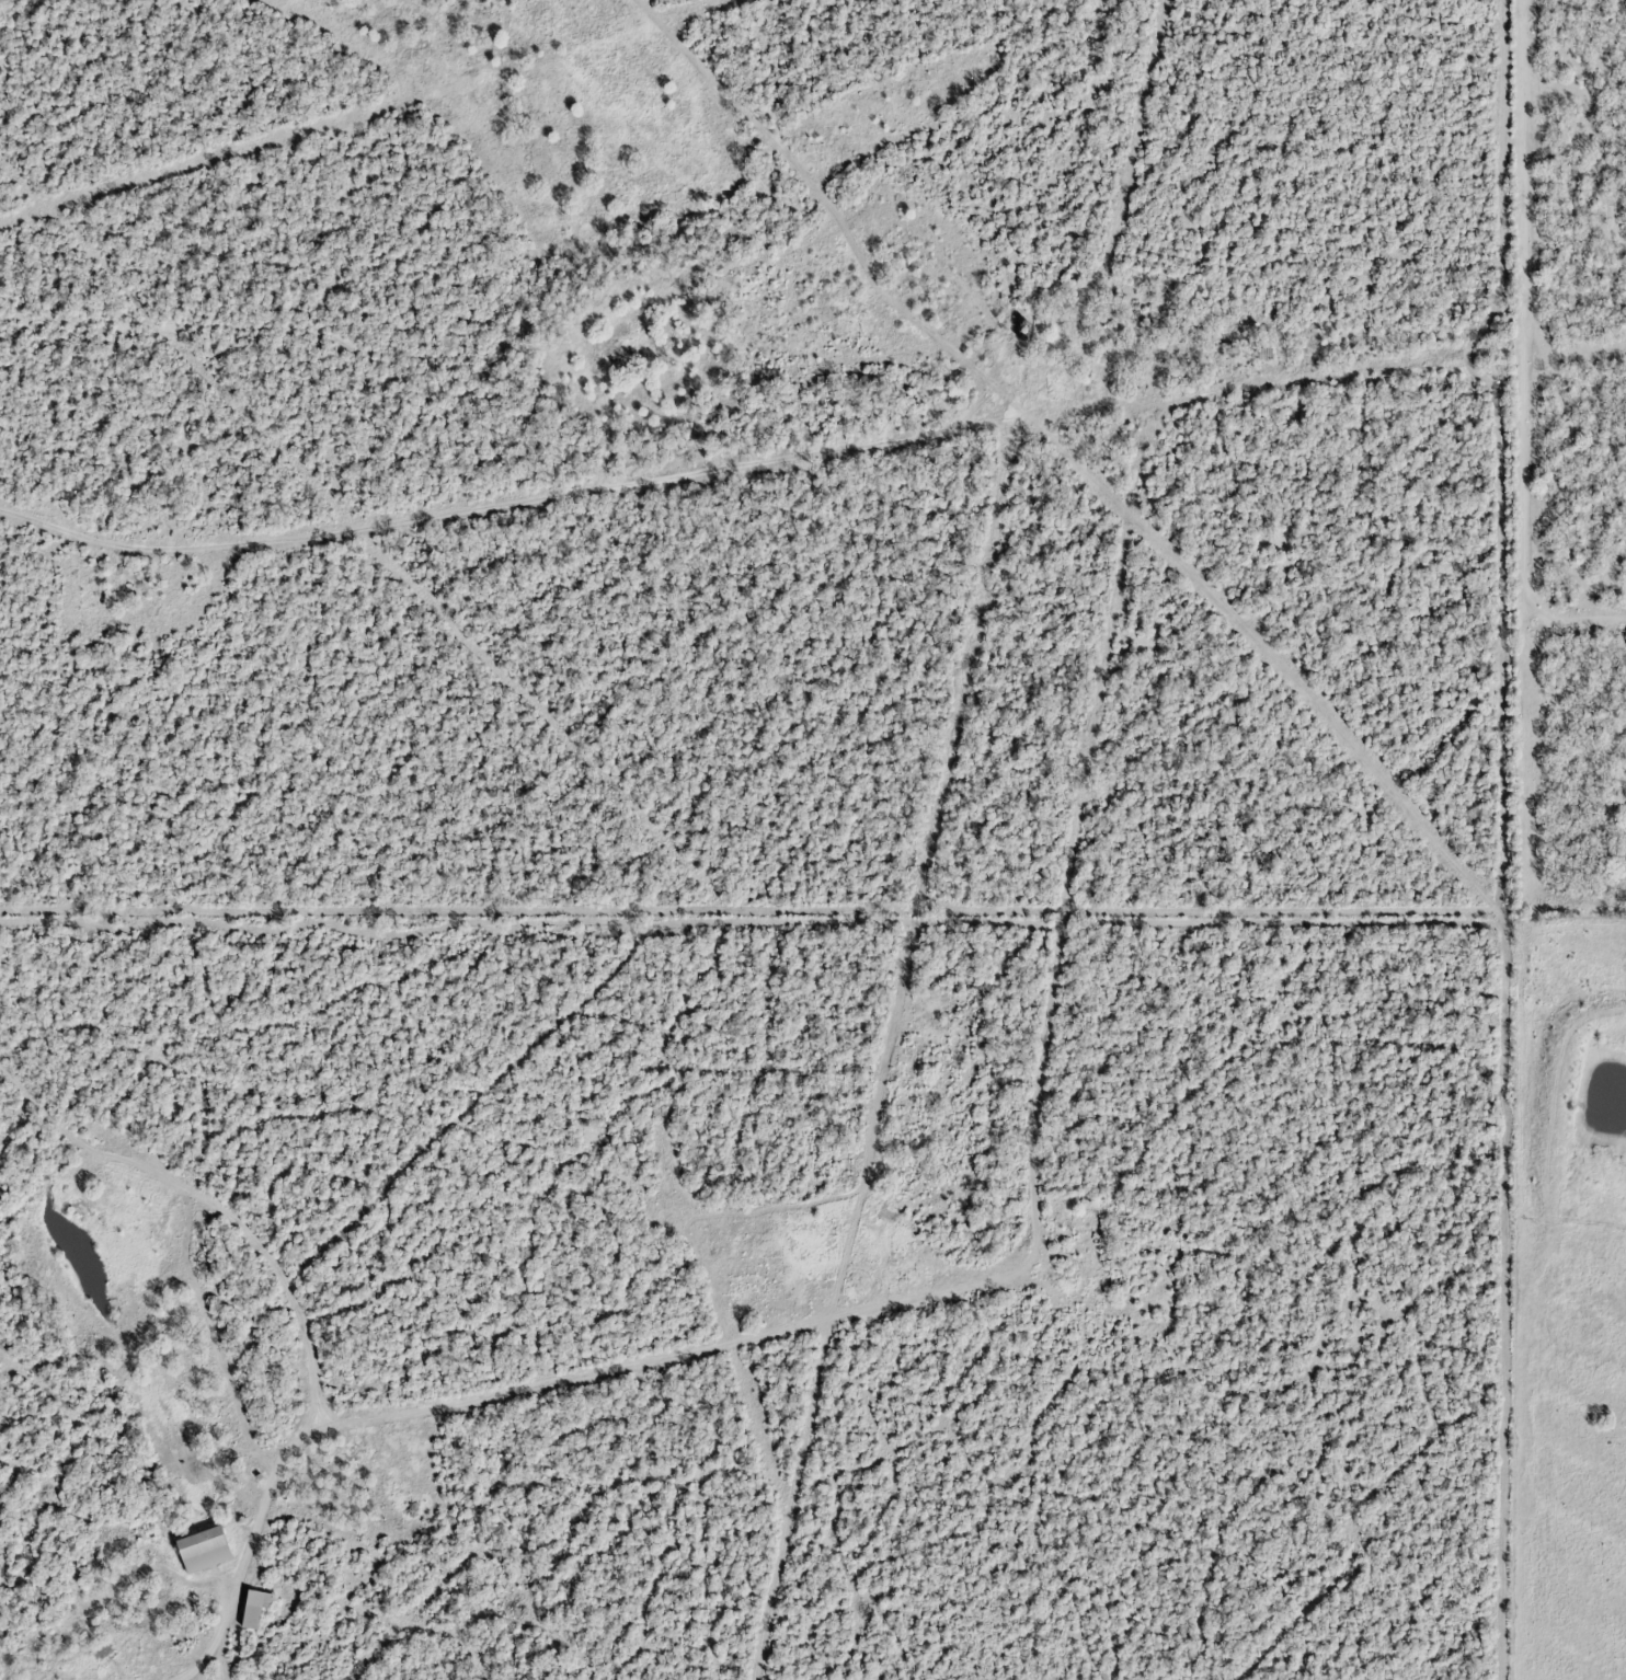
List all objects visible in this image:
building: (202, 1550)
building: (254, 1607)

